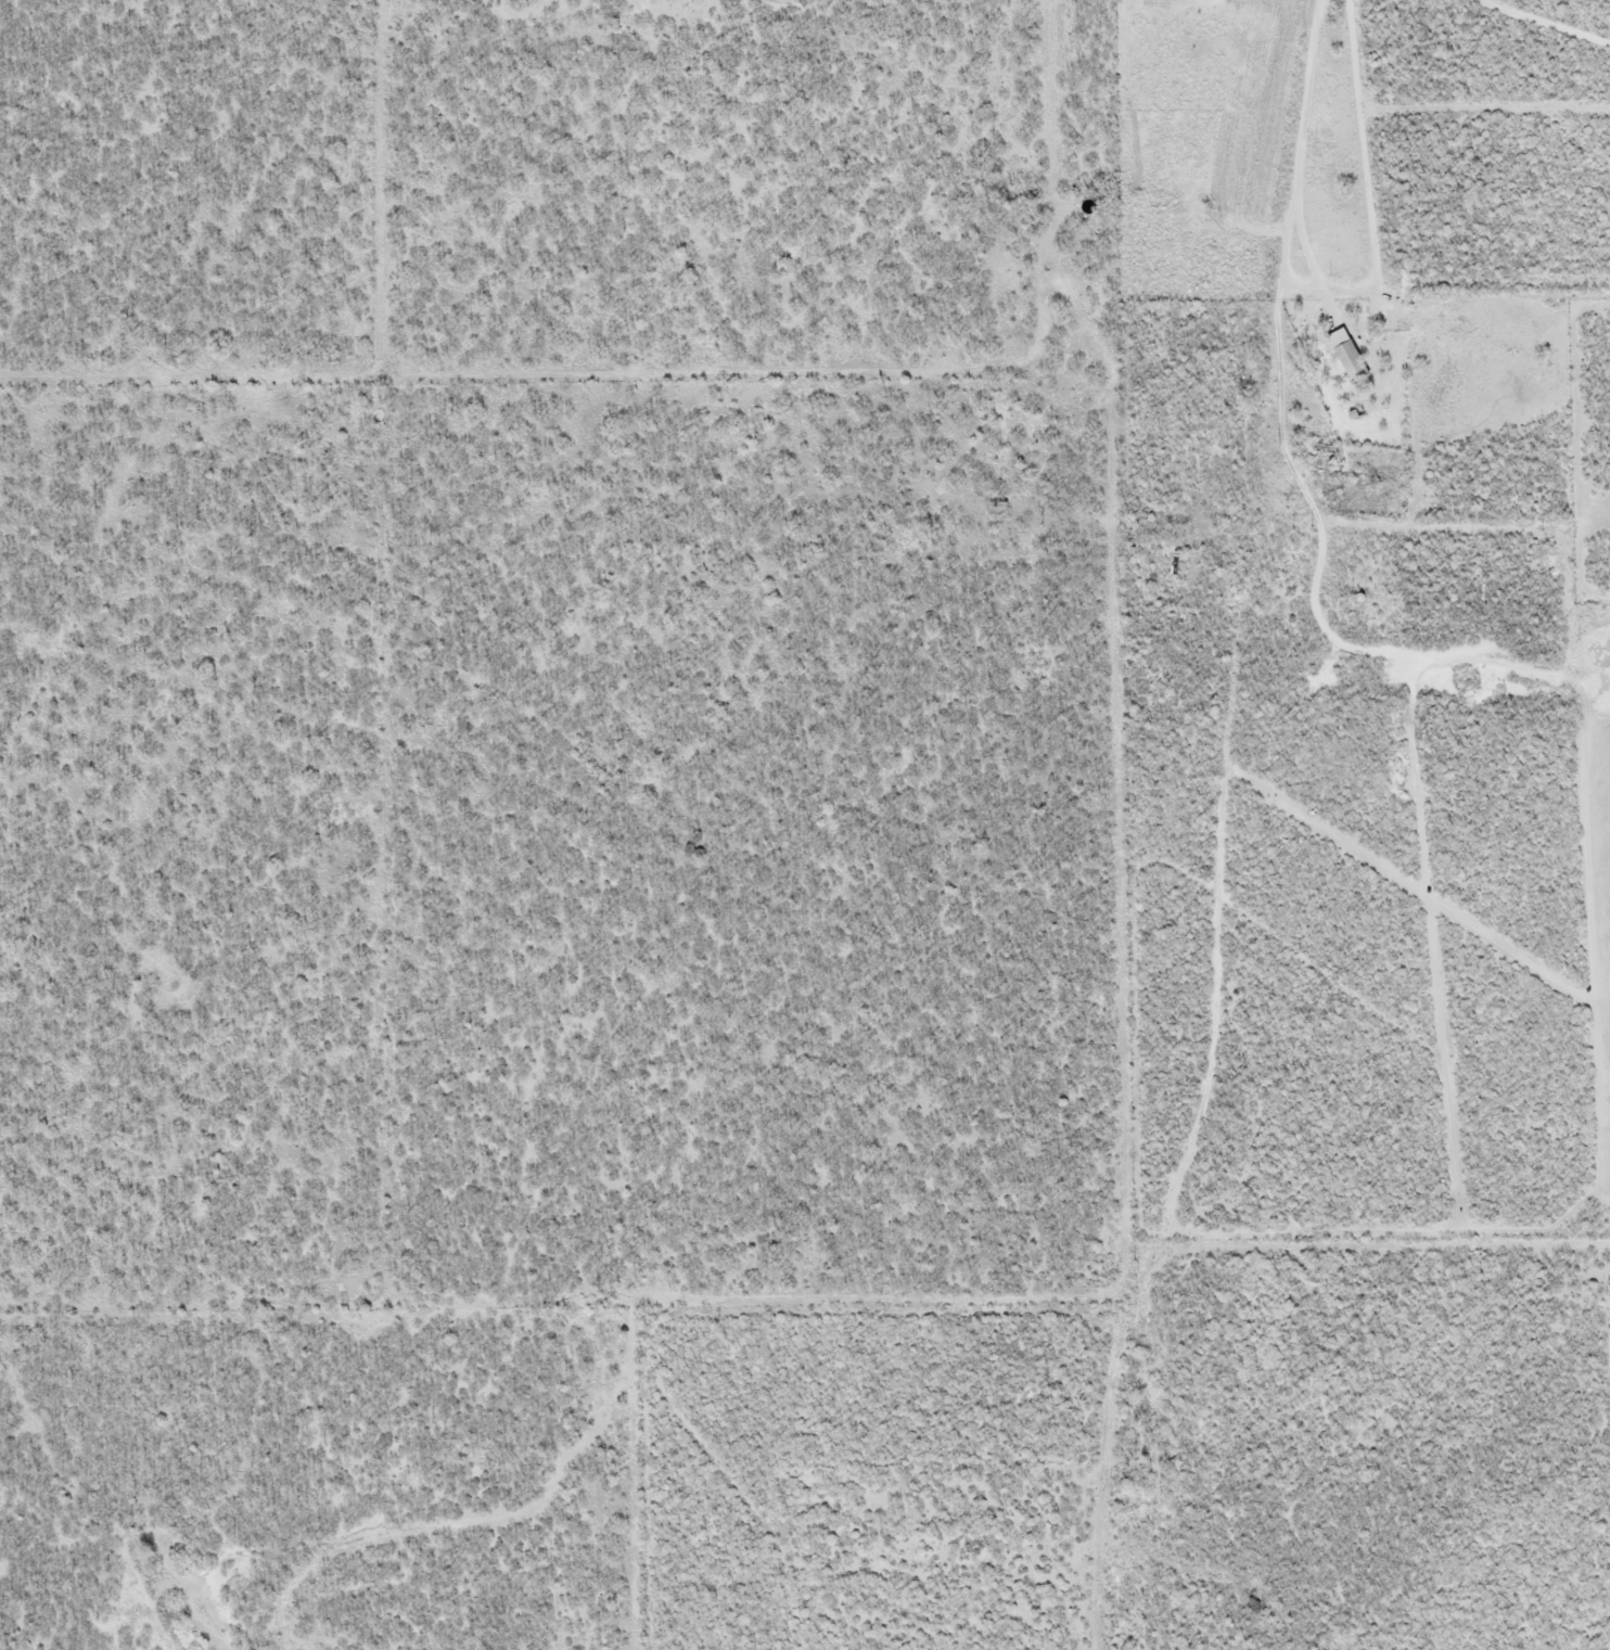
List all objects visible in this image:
road: (1294, 170)
building: (1347, 361)
building: (994, 506)

